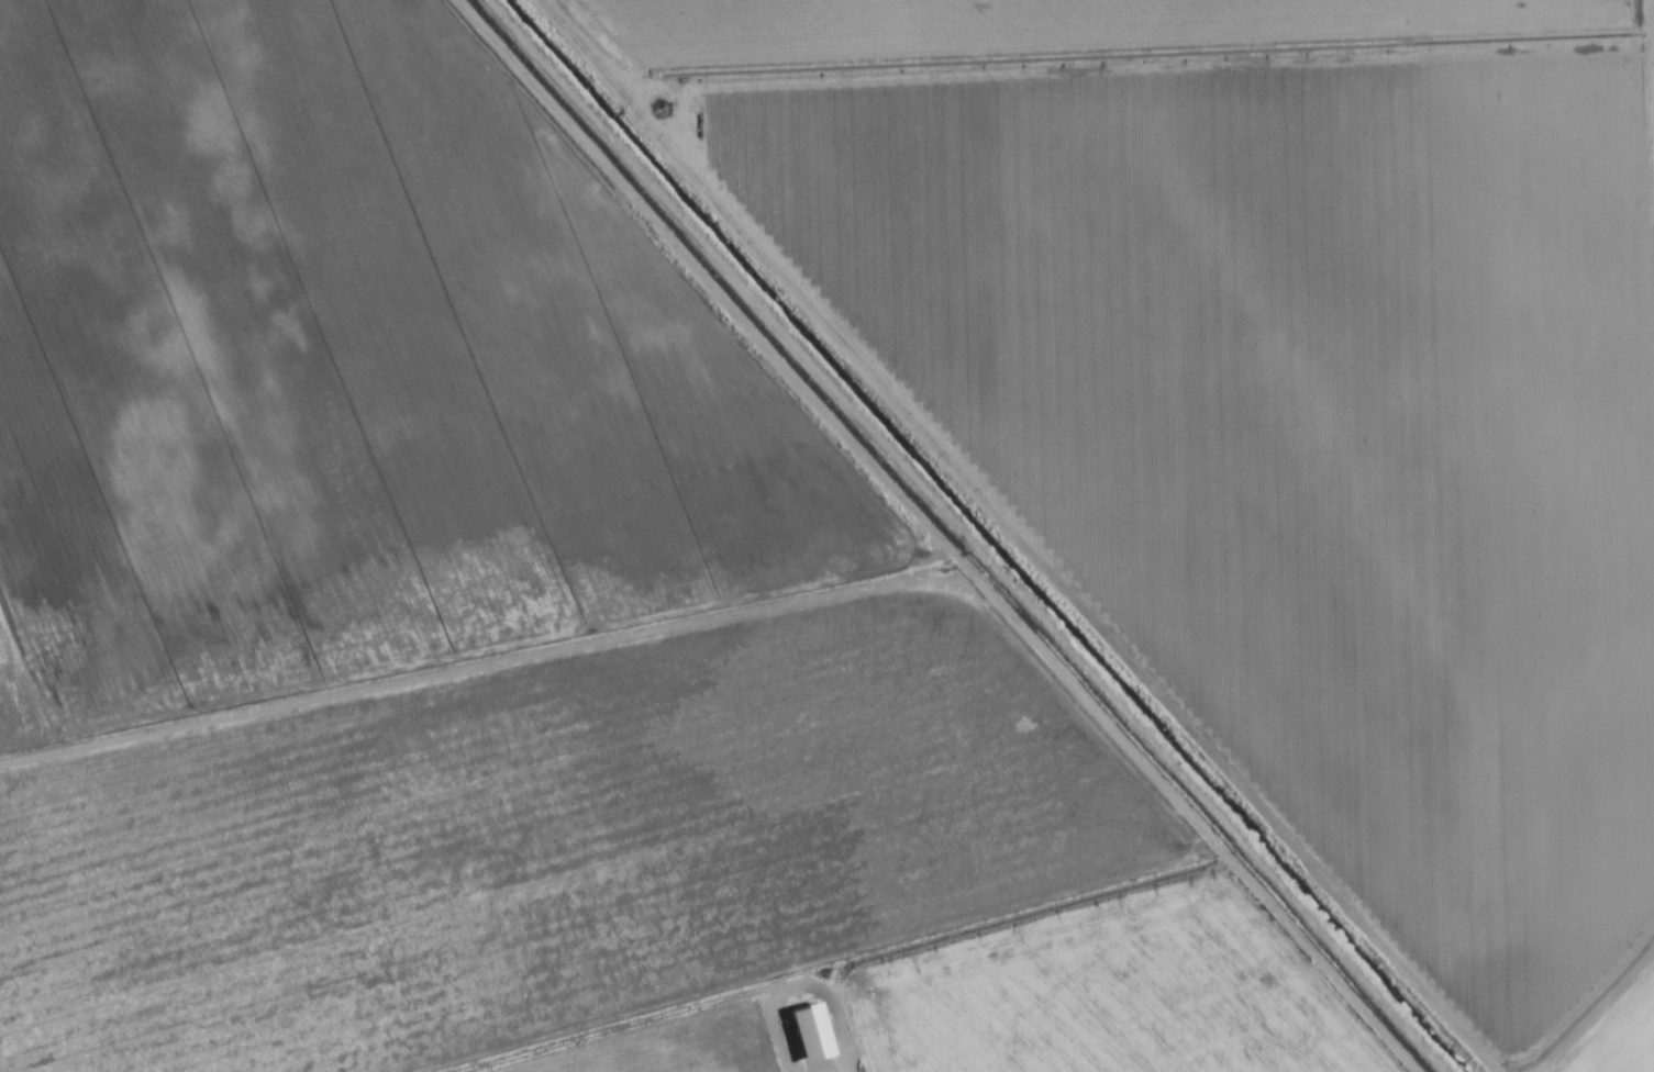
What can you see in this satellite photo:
road: (1013, 536)
building: (807, 1035)

